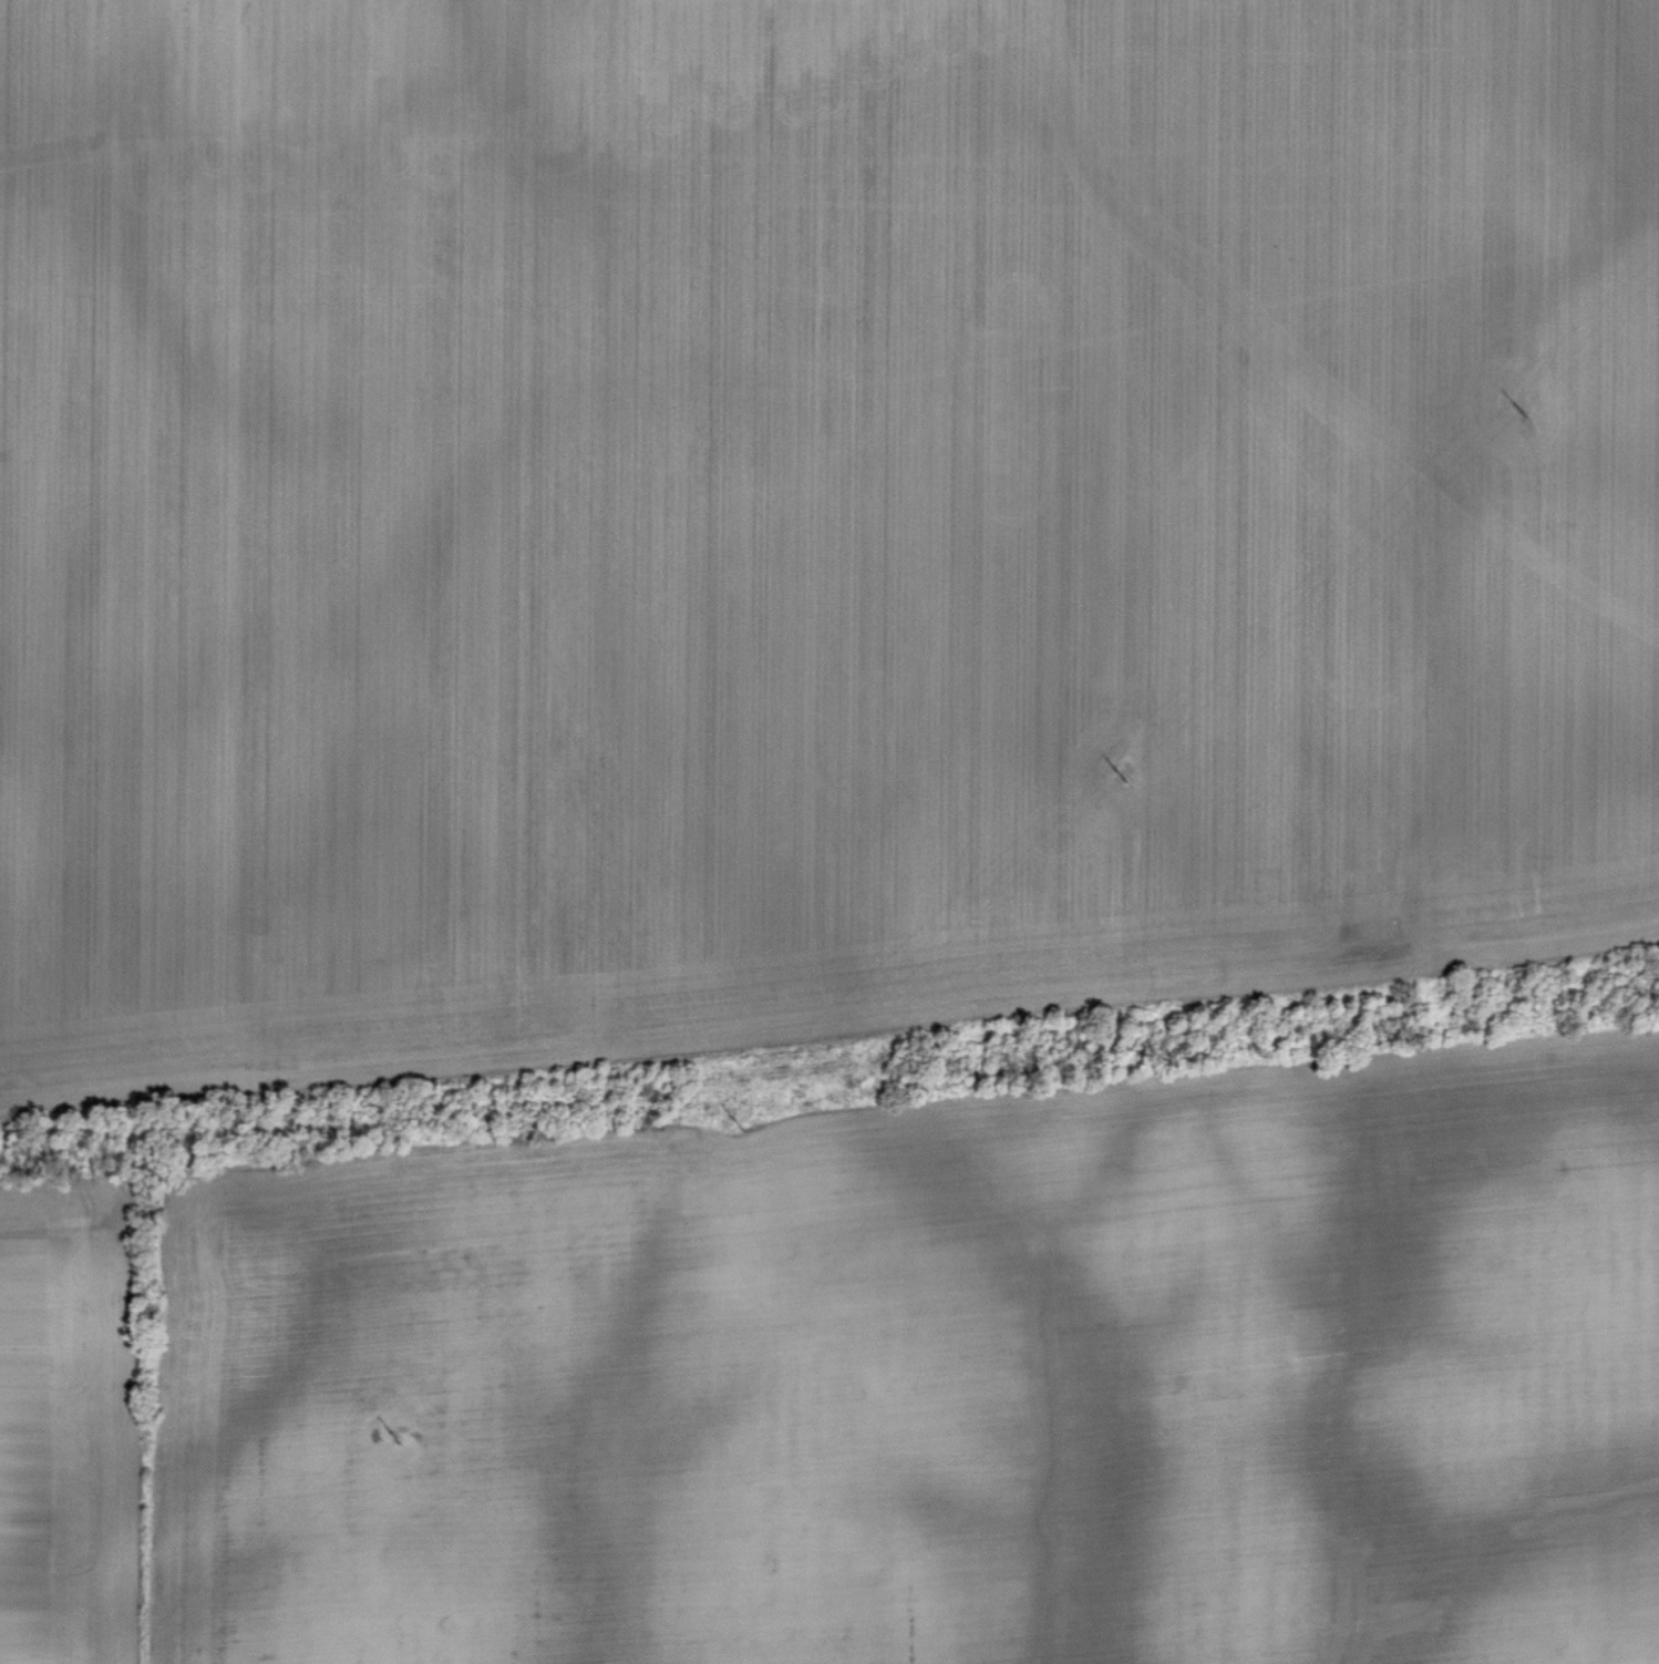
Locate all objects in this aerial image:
power tower: (1516, 418)
power tower: (1119, 779)
power tower: (734, 1126)
power tower: (392, 1439)

